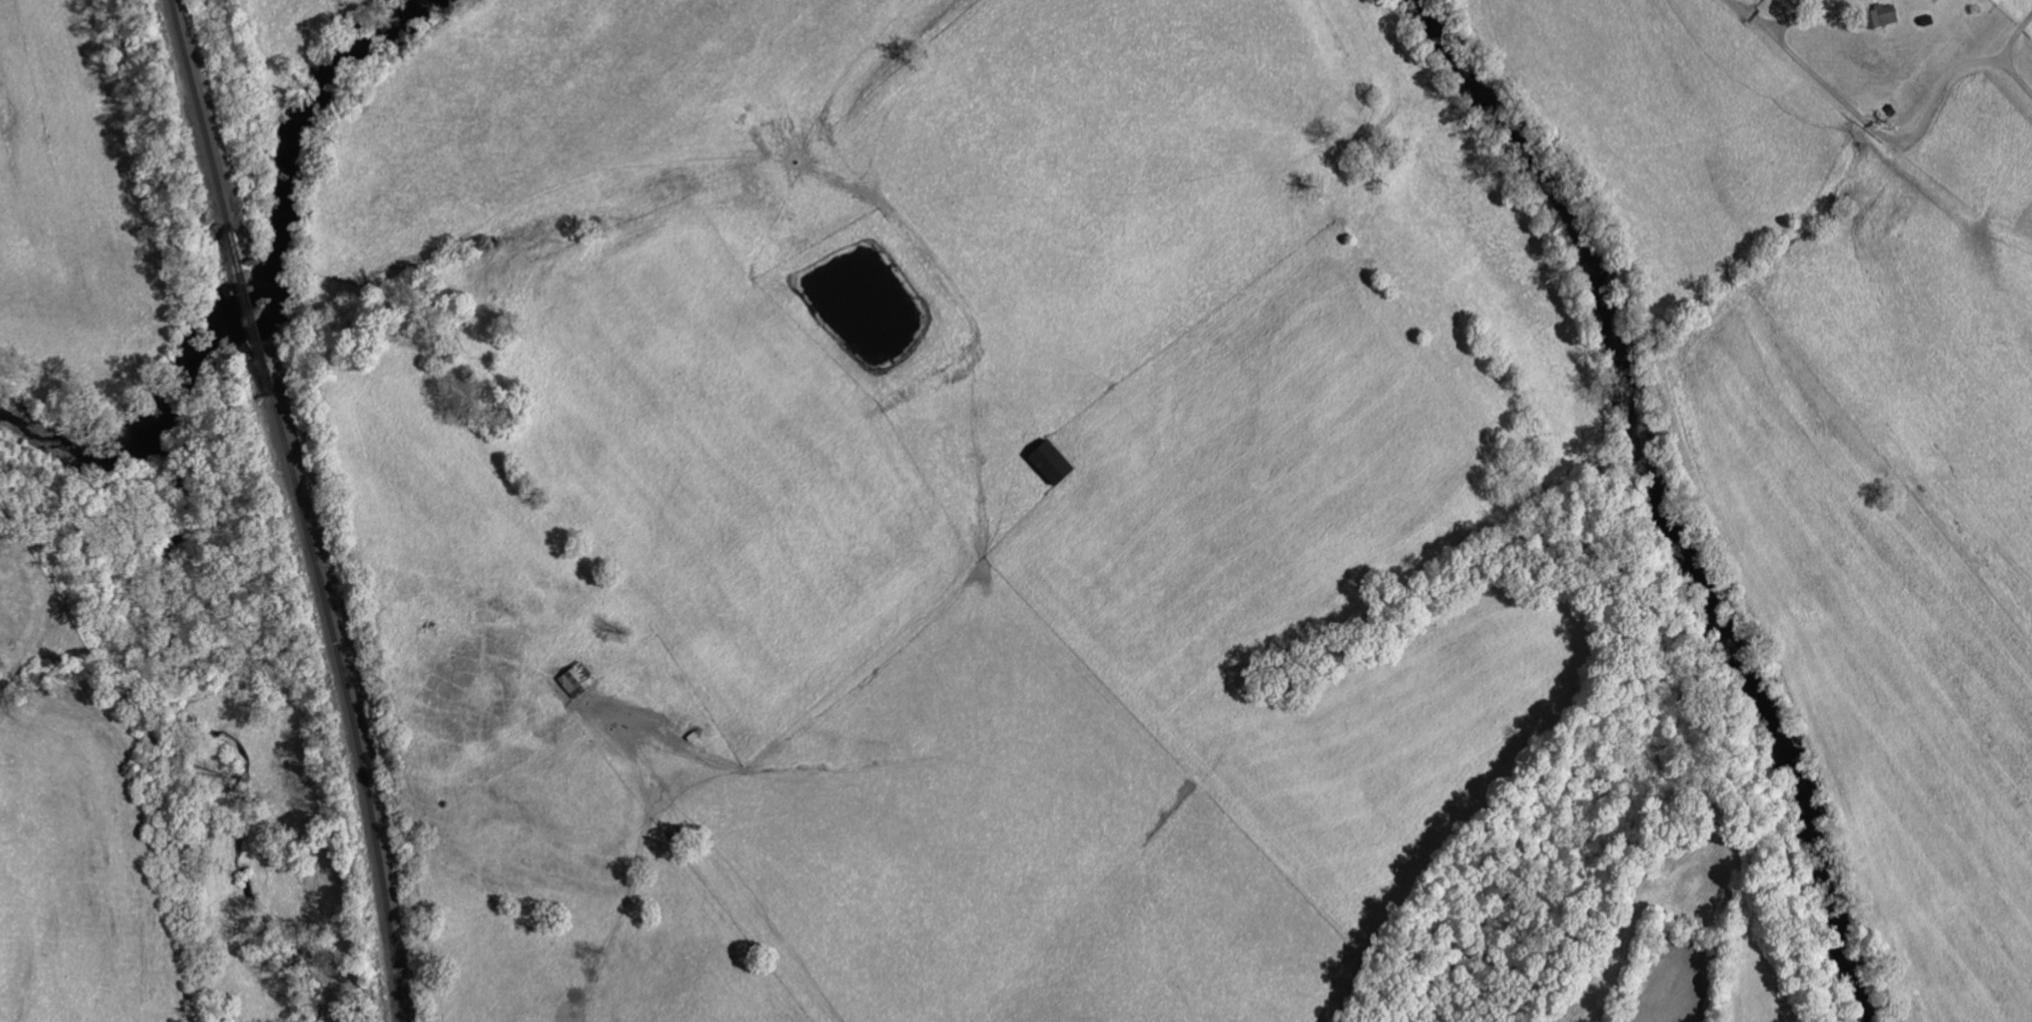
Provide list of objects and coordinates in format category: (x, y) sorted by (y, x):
building: (1881, 17)
road: (1776, 33)
railway: (195, 112)
road: (1908, 141)
railway: (245, 309)
building: (1051, 464)
building: (578, 680)
railway: (350, 705)
road: (684, 888)

